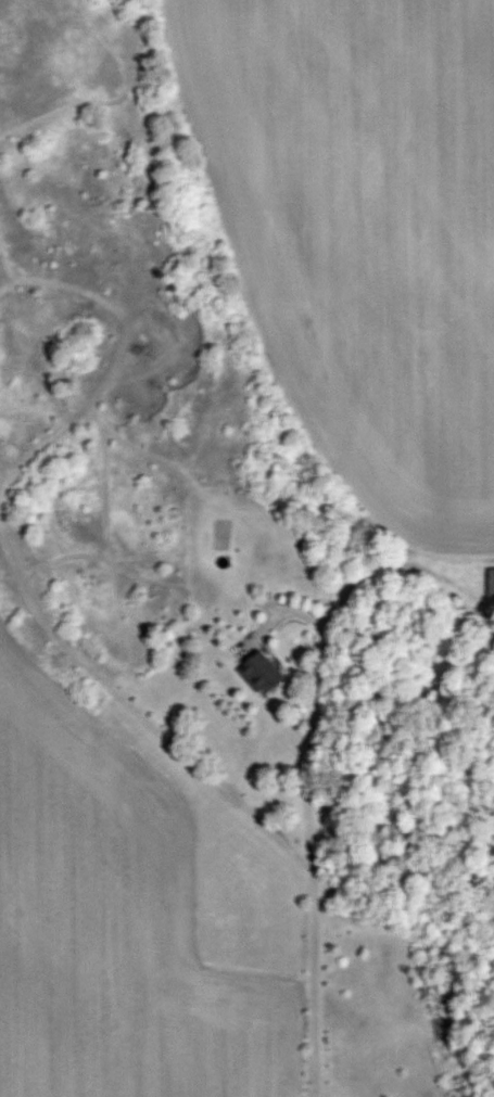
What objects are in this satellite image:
building: (491, 581)
building: (262, 671)
road: (306, 819)

